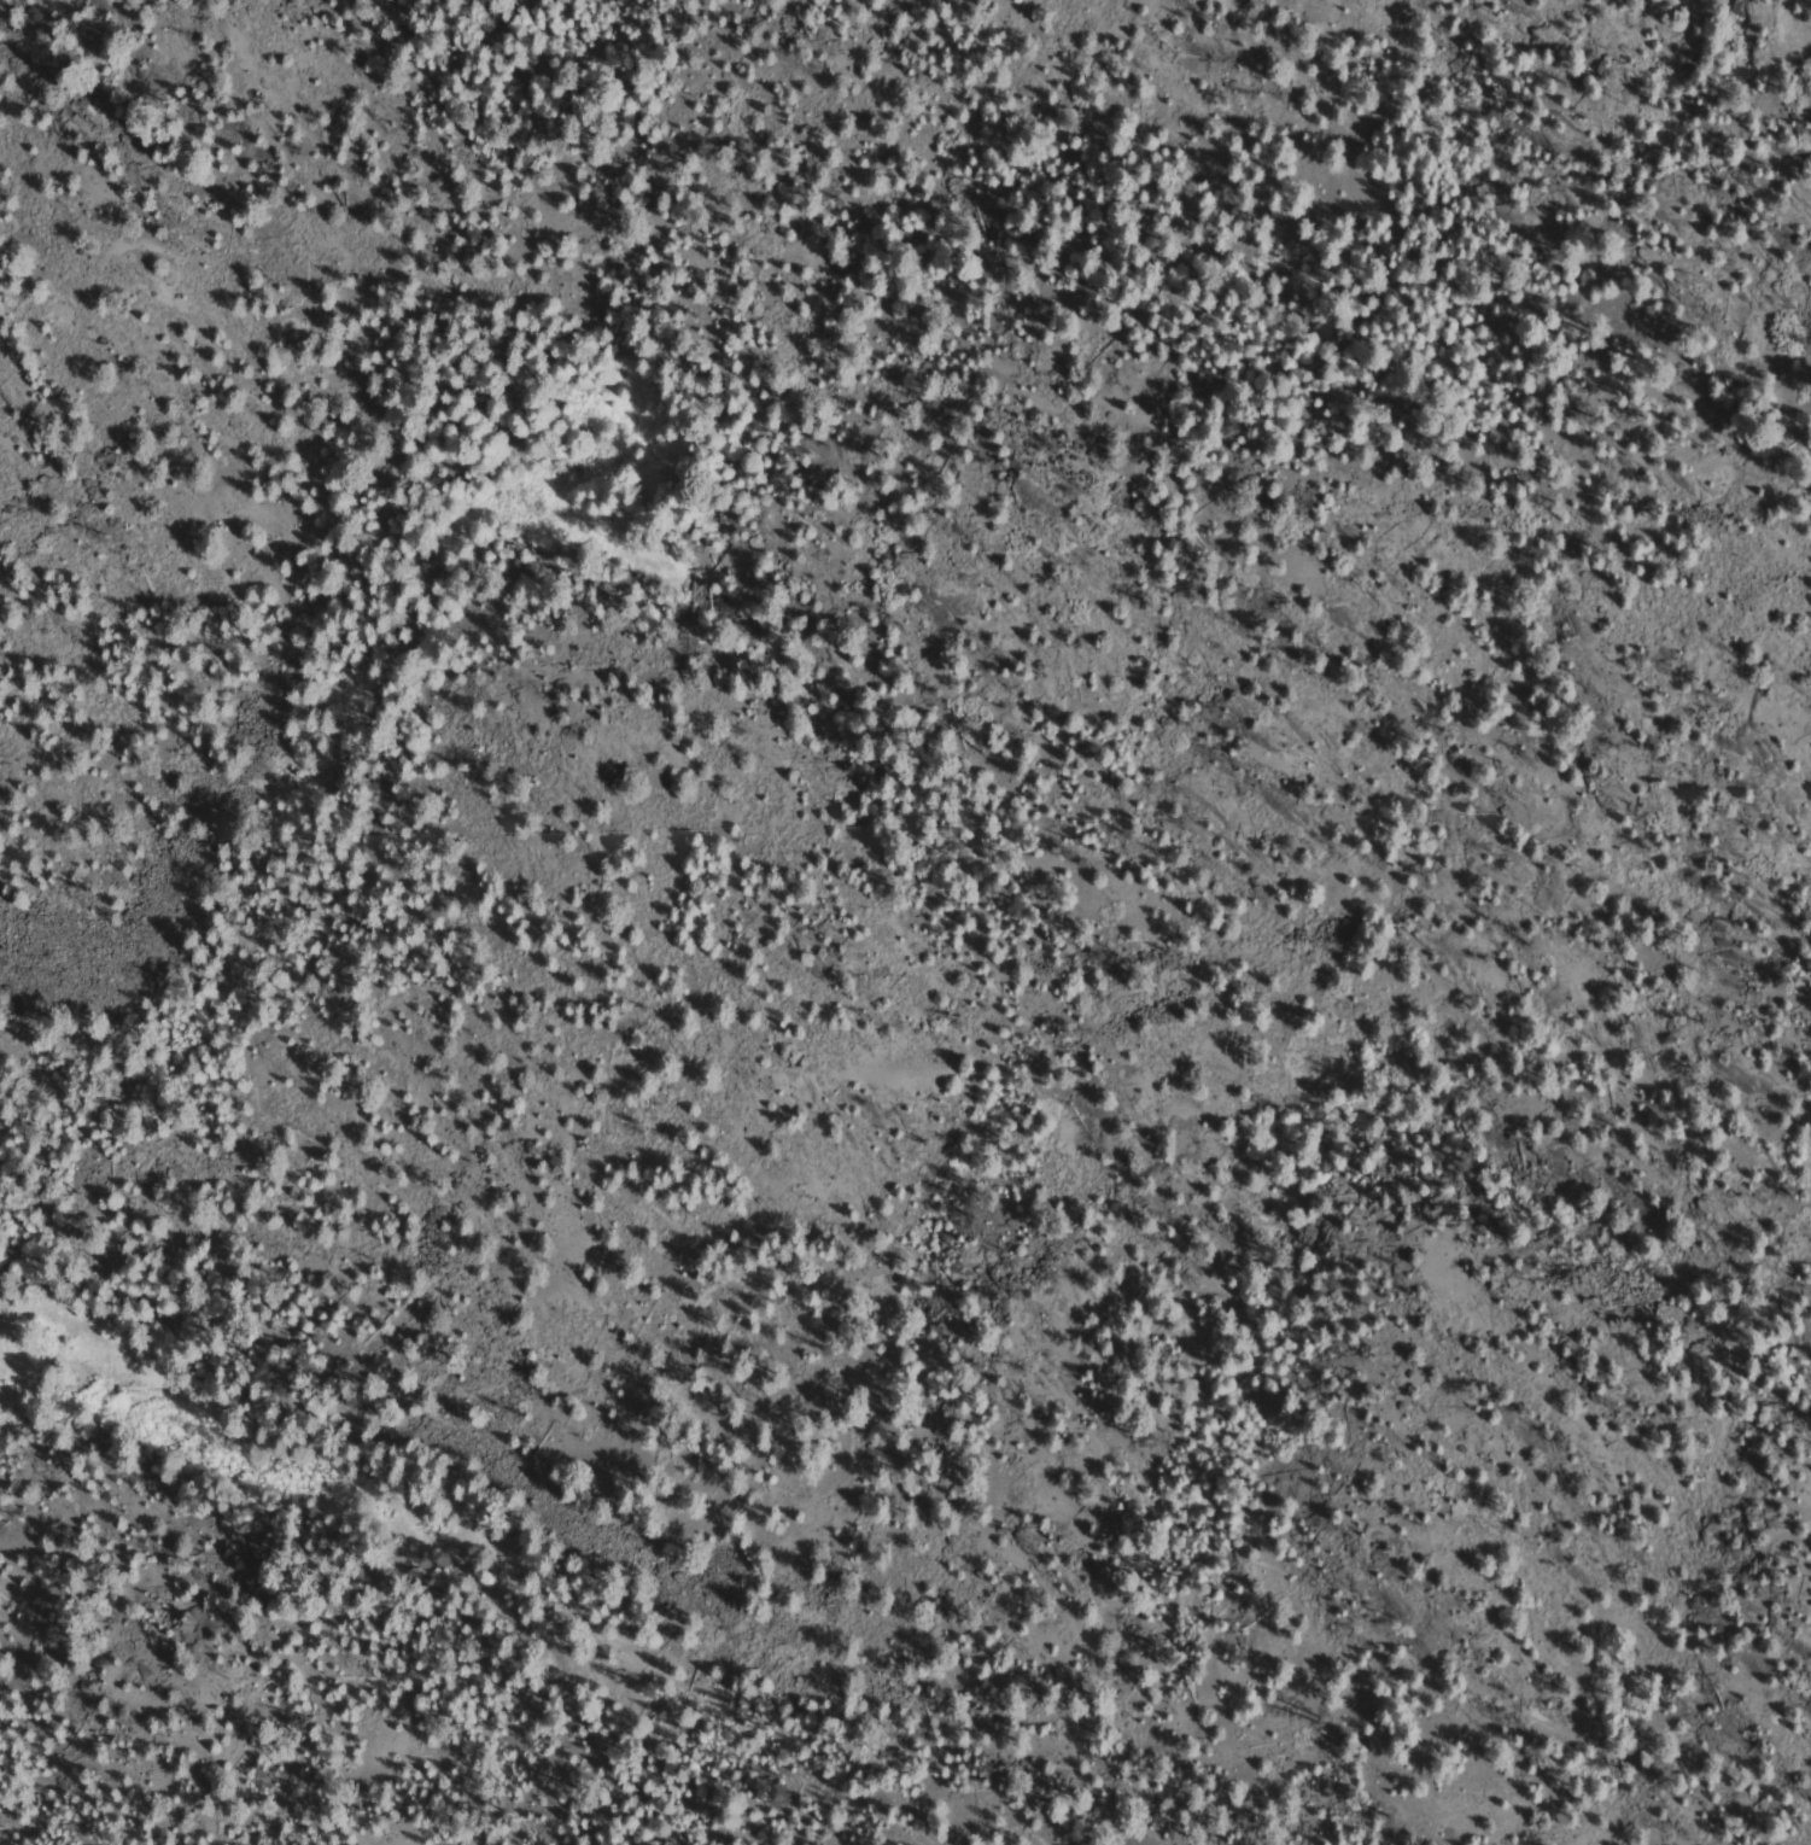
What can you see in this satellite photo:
road: (544, 1504)

